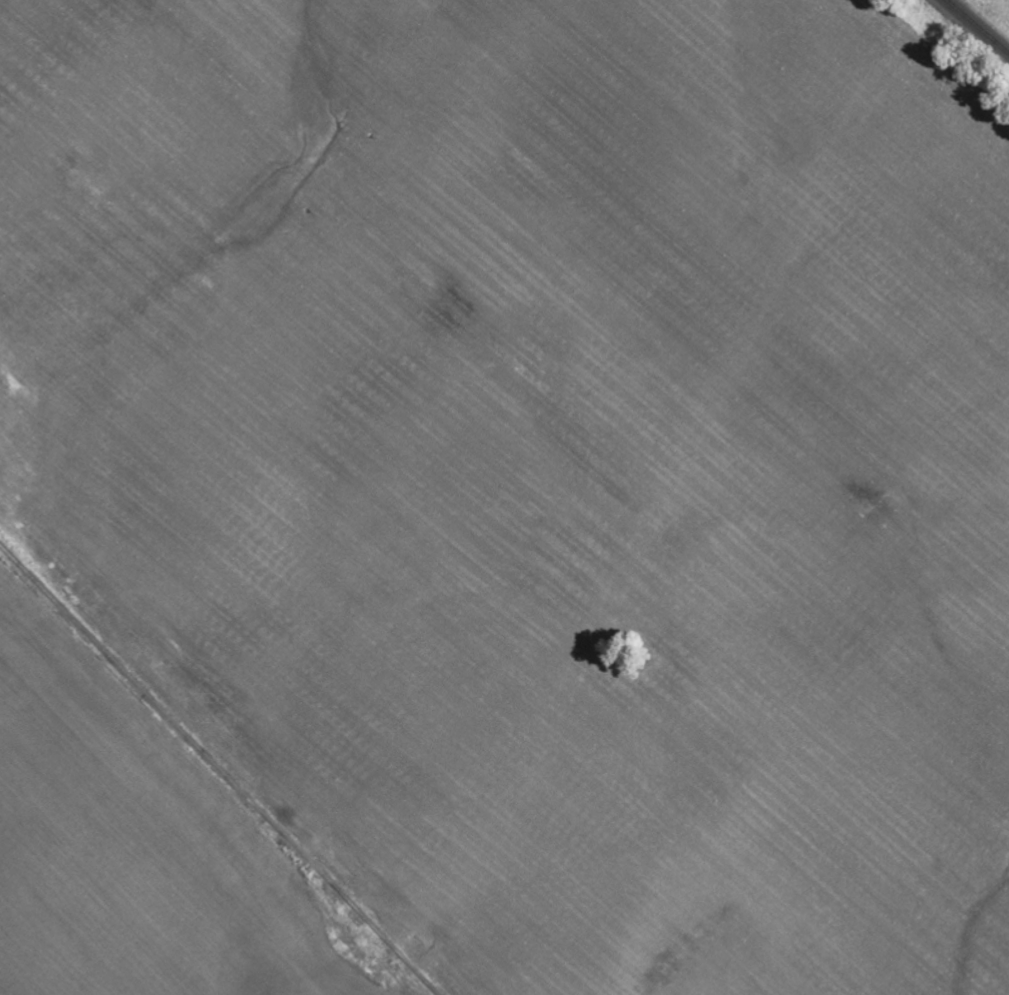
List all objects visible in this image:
railway: (978, 25)

